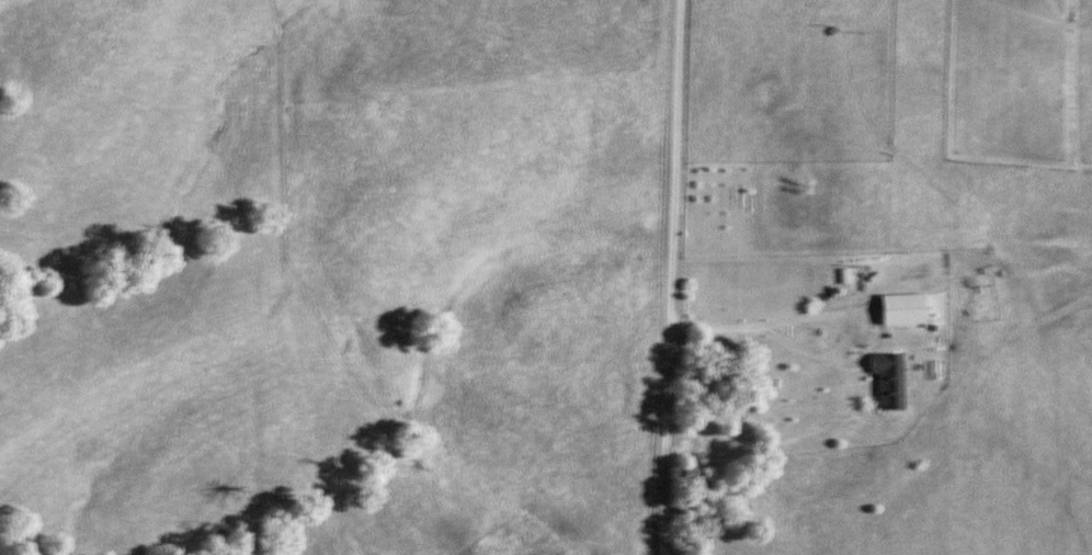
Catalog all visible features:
road: (858, 19)
road: (670, 276)
building: (898, 309)
road: (803, 349)
building: (886, 380)

